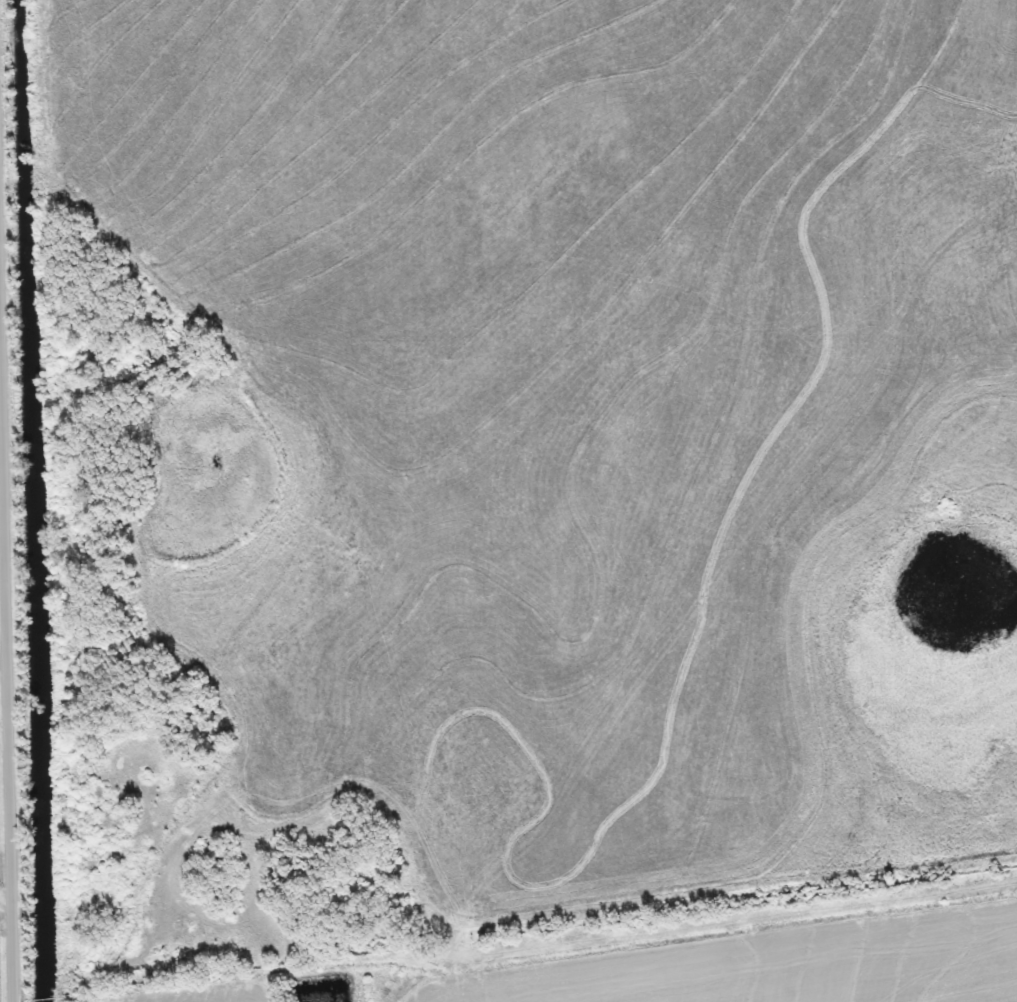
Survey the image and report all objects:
road: (4, 203)
road: (6, 500)
road: (6, 907)
road: (714, 912)

